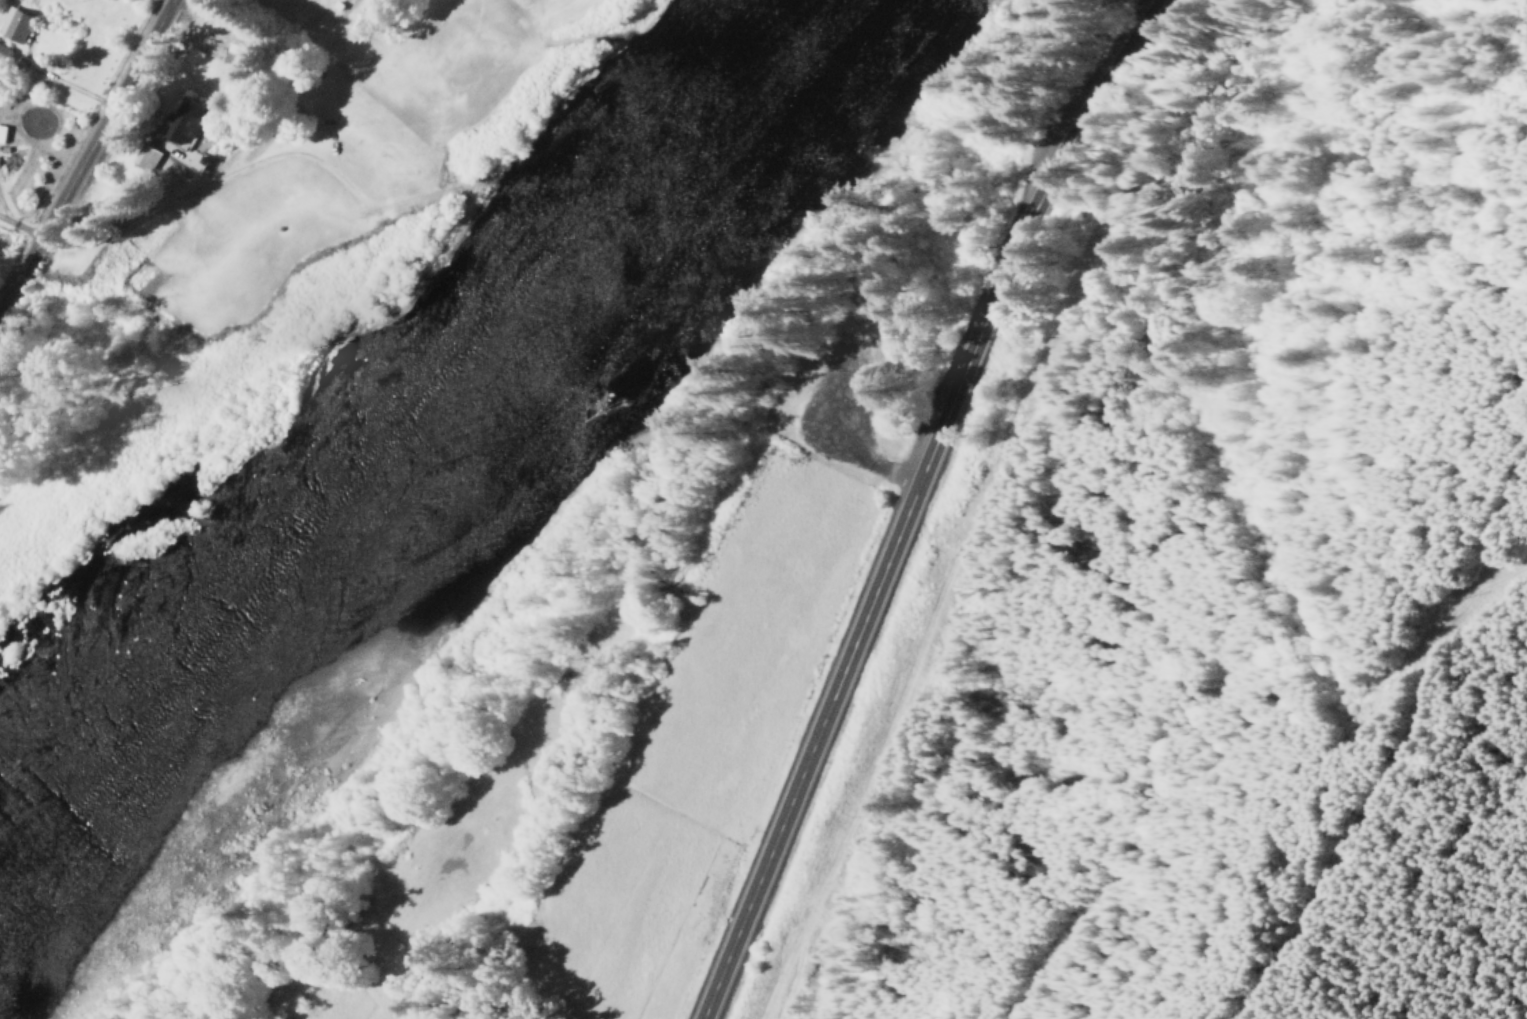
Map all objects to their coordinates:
building: (12, 24)
building: (3, 54)
building: (180, 121)
building: (0, 132)
road: (88, 155)
road: (1008, 240)
park: (839, 358)
parking lot: (834, 401)
river: (424, 449)
road: (834, 456)
road: (620, 536)
road: (784, 755)

